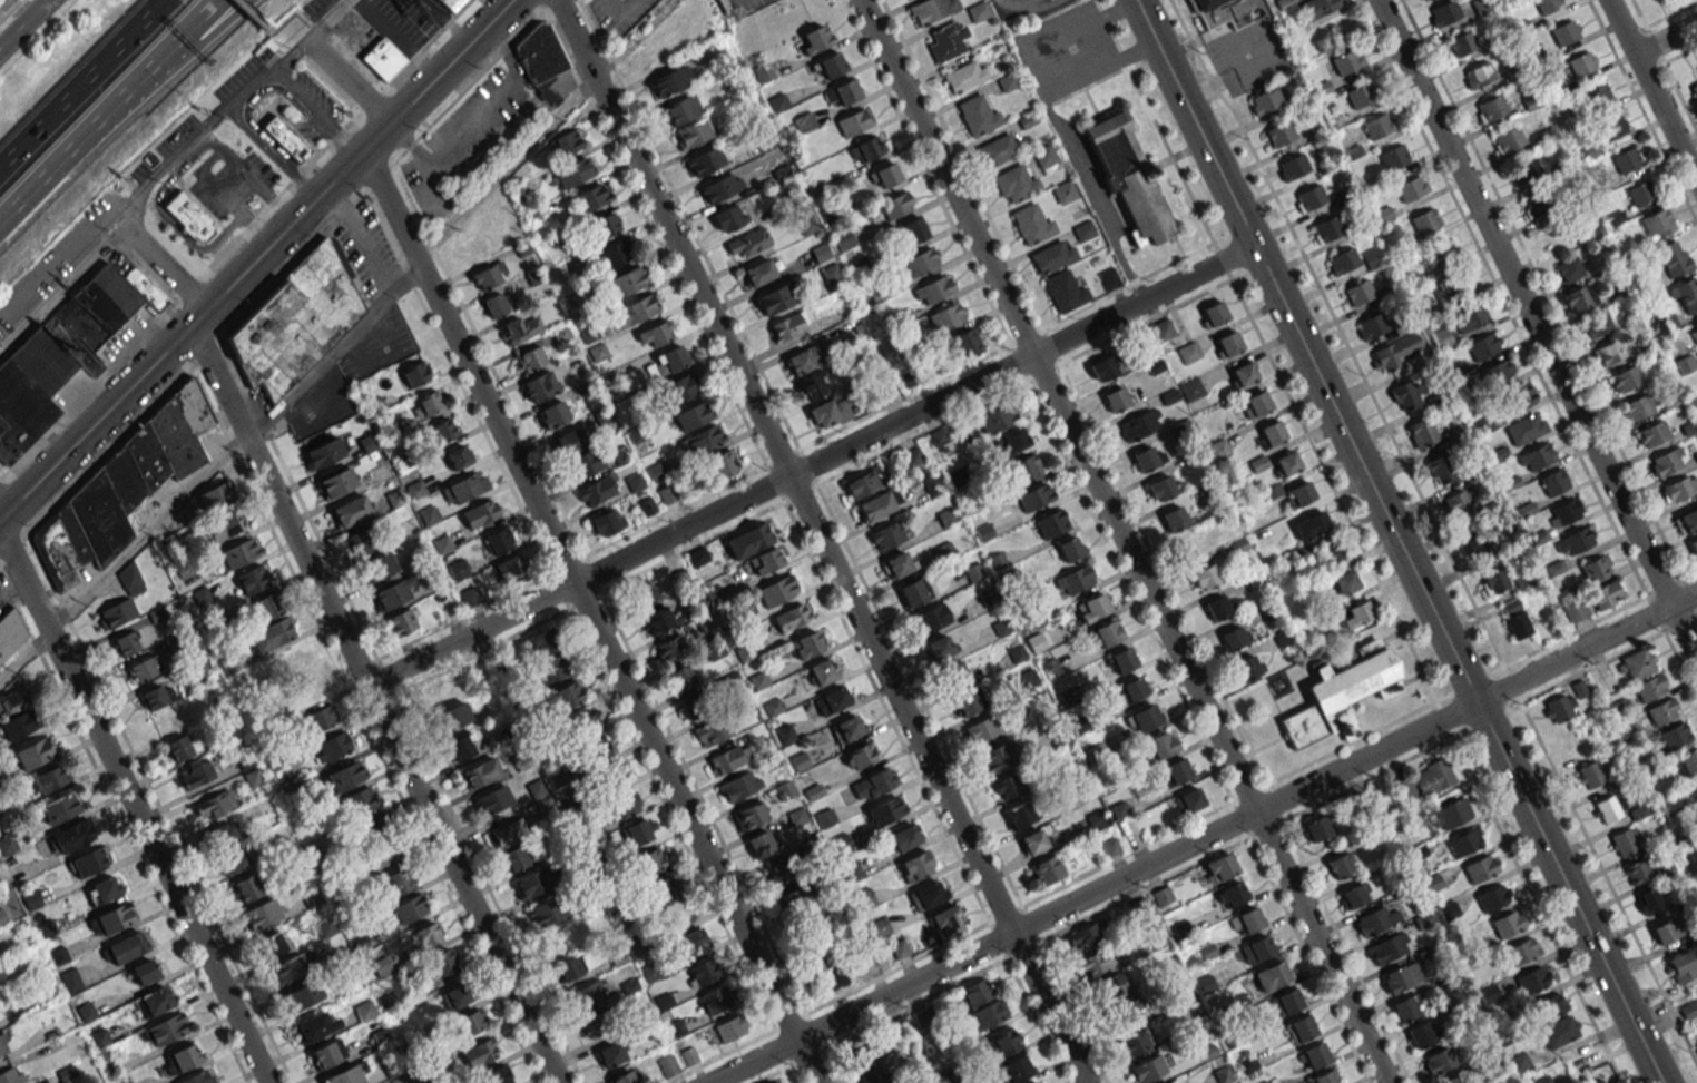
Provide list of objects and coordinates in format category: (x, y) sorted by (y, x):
building: (1422, 0)
building: (450, 4)
building: (1547, 4)
building: (1314, 8)
road: (9, 9)
building: (931, 9)
building: (977, 11)
building: (1219, 12)
building: (1442, 12)
road: (251, 16)
building: (422, 18)
road: (22, 22)
building: (1564, 32)
road: (326, 35)
building: (814, 38)
road: (1665, 39)
building: (945, 40)
building: (1462, 42)
parking lot: (1237, 43)
building: (382, 59)
building: (539, 60)
building: (1347, 60)
road: (155, 63)
road: (171, 63)
building: (831, 63)
building: (1581, 63)
road: (1100, 72)
building: (1477, 75)
building: (963, 76)
building: (669, 81)
building: (1007, 81)
road: (82, 83)
road: (349, 83)
building: (845, 90)
road: (1651, 92)
building: (1361, 95)
road: (542, 96)
building: (1596, 96)
building: (1694, 96)
building: (1263, 101)
building: (1490, 107)
road: (468, 109)
building: (681, 109)
road: (316, 115)
building: (977, 115)
building: (851, 121)
building: (1376, 126)
road: (548, 127)
building: (1611, 128)
building: (695, 131)
building: (1278, 134)
building: (285, 138)
building: (1507, 139)
building: (563, 144)
building: (866, 148)
building: (998, 148)
road: (271, 151)
building: (1042, 155)
building: (1393, 157)
building: (704, 160)
building: (1626, 160)
road: (163, 165)
building: (1292, 166)
building: (1524, 171)
road: (46, 173)
building: (570, 173)
building: (885, 174)
building: (1127, 176)
road: (944, 177)
building: (1013, 183)
building: (718, 187)
building: (1410, 188)
road: (933, 189)
building: (1062, 191)
building: (1641, 193)
building: (589, 197)
building: (1308, 197)
road: (1093, 199)
building: (1537, 204)
building: (894, 205)
building: (189, 217)
building: (728, 217)
building: (1424, 220)
building: (1030, 224)
building: (1656, 224)
building: (604, 225)
building: (912, 228)
building: (1326, 228)
building: (1082, 230)
road: (235, 239)
building: (746, 243)
building: (471, 246)
building: (1439, 253)
building: (610, 254)
building: (1050, 256)
building: (1371, 257)
road: (256, 258)
building: (1671, 258)
building: (919, 260)
building: (1343, 260)
building: (1569, 269)
building: (757, 273)
building: (487, 275)
building: (626, 280)
building: (1449, 287)
building: (933, 289)
building: (1063, 291)
building: (1357, 292)
building: (1685, 295)
building: (771, 299)
building: (1577, 301)
building: (497, 303)
road: (1523, 303)
road: (1549, 304)
building: (634, 309)
building: (1213, 313)
building: (945, 316)
building: (1468, 316)
building: (295, 319)
building: (1371, 324)
building: (1596, 324)
building: (785, 325)
building: (518, 328)
building: (1161, 328)
building: (1693, 332)
building: (653, 334)
building: (1442, 338)
building: (1649, 339)
building: (965, 343)
building: (1228, 344)
building: (1484, 345)
building: (63, 349)
building: (1188, 352)
building: (1395, 352)
building: (1609, 352)
building: (528, 358)
building: (802, 360)
building: (664, 362)
building: (1684, 364)
building: (1102, 367)
building: (1497, 372)
building: (414, 373)
building: (1243, 374)
building: (1625, 378)
building: (810, 384)
building: (538, 386)
building: (678, 387)
building: (1190, 388)
building: (1410, 392)
building: (1115, 398)
building: (1513, 398)
building: (429, 402)
building: (1257, 403)
building: (1636, 407)
building: (828, 412)
building: (552, 413)
building: (691, 415)
building: (995, 419)
building: (1139, 424)
building: (1524, 427)
building: (441, 430)
building: (1272, 432)
building: (1421, 432)
building: (1651, 433)
building: (1010, 439)
building: (700, 440)
building: (568, 441)
building: (1217, 449)
building: (322, 453)
building: (457, 456)
building: (1536, 456)
building: (1147, 459)
building: (1667, 461)
building: (1285, 462)
building: (582, 464)
building: (720, 464)
road: (808, 465)
building: (1023, 467)
road: (210, 470)
building: (1440, 470)
building: (336, 481)
building: (1552, 482)
building: (862, 483)
building: (121, 486)
building: (464, 488)
building: (1160, 488)
building: (1679, 488)
building: (595, 491)
building: (1301, 492)
building: (214, 495)
building: (1032, 498)
building: (876, 504)
building: (1459, 504)
building: (350, 511)
building: (1564, 511)
building: (479, 513)
building: (428, 514)
building: (1173, 518)
building: (1686, 521)
building: (606, 522)
building: (1315, 522)
building: (1050, 523)
building: (224, 525)
building: (886, 535)
building: (497, 540)
road: (820, 541)
road: (1396, 541)
building: (1575, 541)
building: (745, 542)
building: (1199, 542)
building: (1475, 542)
building: (356, 544)
building: (1694, 547)
building: (1069, 548)
building: (238, 552)
building: (1330, 552)
building: (764, 560)
building: (896, 564)
building: (376, 567)
building: (1595, 568)
building: (508, 569)
road: (1689, 572)
building: (1205, 577)
building: (252, 579)
building: (1492, 579)
building: (1073, 580)
building: (1345, 582)
building: (776, 590)
building: (129, 591)
building: (641, 591)
building: (913, 591)
building: (392, 593)
building: (1605, 594)
building: (202, 595)
building: (468, 595)
road: (1684, 599)
building: (1095, 604)
building: (266, 607)
building: (1216, 608)
building: (1575, 609)
building: (1358, 612)
building: (791, 617)
road: (590, 618)
building: (929, 618)
building: (658, 620)
building: (400, 622)
building: (1517, 624)
building: (10, 632)
building: (1106, 632)
road: (1684, 632)
building: (269, 634)
building: (1234, 637)
building: (540, 641)
building: (125, 643)
building: (805, 644)
building: (940, 647)
road: (345, 648)
building: (669, 648)
building: (1122, 659)
building: (290, 663)
building: (1636, 663)
building: (1247, 667)
building: (143, 669)
building: (551, 669)
building: (822, 671)
building: (953, 675)
building: (681, 678)
building: (1650, 687)
building: (1132, 688)
building: (1341, 693)
building: (157, 696)
building: (565, 696)
building: (830, 700)
building: (967, 702)
building: (694, 703)
building: (1559, 707)
building: (1662, 711)
building: (452, 716)
building: (1146, 717)
building: (321, 718)
road: (1208, 719)
building: (582, 721)
building: (16, 725)
building: (846, 728)
building: (980, 729)
building: (713, 731)
building: (1675, 736)
building: (1160, 744)
building: (332, 746)
building: (461, 747)
building: (177, 748)
building: (597, 748)
building: (33, 752)
building: (859, 755)
building: (995, 756)
building: (726, 758)
building: (1688, 759)
building: (243, 761)
building: (1176, 770)
building: (197, 772)
building: (478, 772)
building: (1588, 775)
building: (343, 776)
building: (610, 776)
building: (48, 778)
building: (1422, 782)
building: (872, 784)
building: (739, 785)
building: (1006, 786)
building: (1690, 791)
building: (491, 799)
building: (360, 800)
building: (1191, 800)
road: (129, 801)
building: (213, 805)
building: (621, 805)
building: (59, 808)
building: (1608, 808)
building: (884, 810)
building: (1696, 813)
building: (1018, 814)
building: (1449, 814)
building: (749, 815)
building: (1317, 827)
building: (375, 828)
building: (635, 833)
building: (504, 834)
building: (71, 835)
building: (218, 835)
building: (903, 837)
building: (1033, 840)
building: (1626, 840)
building: (1465, 841)
building: (759, 844)
road: (1190, 844)
building: (382, 858)
building: (513, 858)
building: (650, 860)
building: (87, 862)
building: (230, 862)
building: (914, 865)
building: (1341, 865)
building: (1220, 867)
building: (1479, 868)
building: (1046, 869)
building: (774, 872)
building: (1636, 872)
building: (396, 882)
building: (531, 883)
building: (245, 887)
building: (100, 889)
building: (661, 889)
building: (926, 894)
building: (1230, 894)
building: (1353, 895)
building: (1492, 896)
building: (792, 900)
building: (1648, 900)
building: (408, 908)
building: (542, 913)
building: (261, 915)
building: (110, 918)
building: (678, 918)
building: (946, 920)
building: (1245, 920)
building: (1375, 920)
building: (1507, 923)
building: (1666, 931)
building: (426, 935)
building: (1085, 937)
building: (558, 939)
building: (691, 941)
building: (272, 943)
building: (125, 947)
building: (1387, 947)
building: (1256, 948)
building: (1521, 951)
building: (439, 964)
building: (1681, 966)
building: (568, 967)
building: (288, 968)
building: (144, 971)
building: (702, 971)
building: (1271, 975)
building: (1401, 976)
building: (831, 977)
building: (69, 979)
building: (1531, 979)
building: (1115, 984)
building: (589, 993)
building: (975, 993)
building: (303, 994)
building: (454, 995)
building: (716, 1000)
building: (153, 1001)
building: (1286, 1002)
building: (1552, 1004)
building: (1404, 1007)
building: (1689, 1008)
building: (988, 1013)
building: (1127, 1013)
building: (469, 1022)
building: (598, 1023)
building: (314, 1026)
building: (897, 1027)
building: (48, 1028)
building: (166, 1028)
building: (727, 1028)
building: (1299, 1028)
building: (1564, 1028)
building: (1420, 1034)
building: (1003, 1042)
building: (2, 1046)
building: (862, 1051)
building: (480, 1052)
building: (324, 1054)
building: (609, 1054)
building: (1312, 1055)
building: (179, 1059)
building: (1439, 1061)
building: (1519, 1061)
building: (667, 1065)
building: (1148, 1069)
building: (1014, 1070)
building: (347, 1074)
building: (9, 1075)
building: (496, 1075)
building: (873, 1075)
building: (196, 1077)
building: (622, 1077)
building: (1325, 1077)
building: (1452, 1080)
building: (1607, 1080)
building: (775, 1082)
building: (1034, 1082)
building: (1169, 1082)

